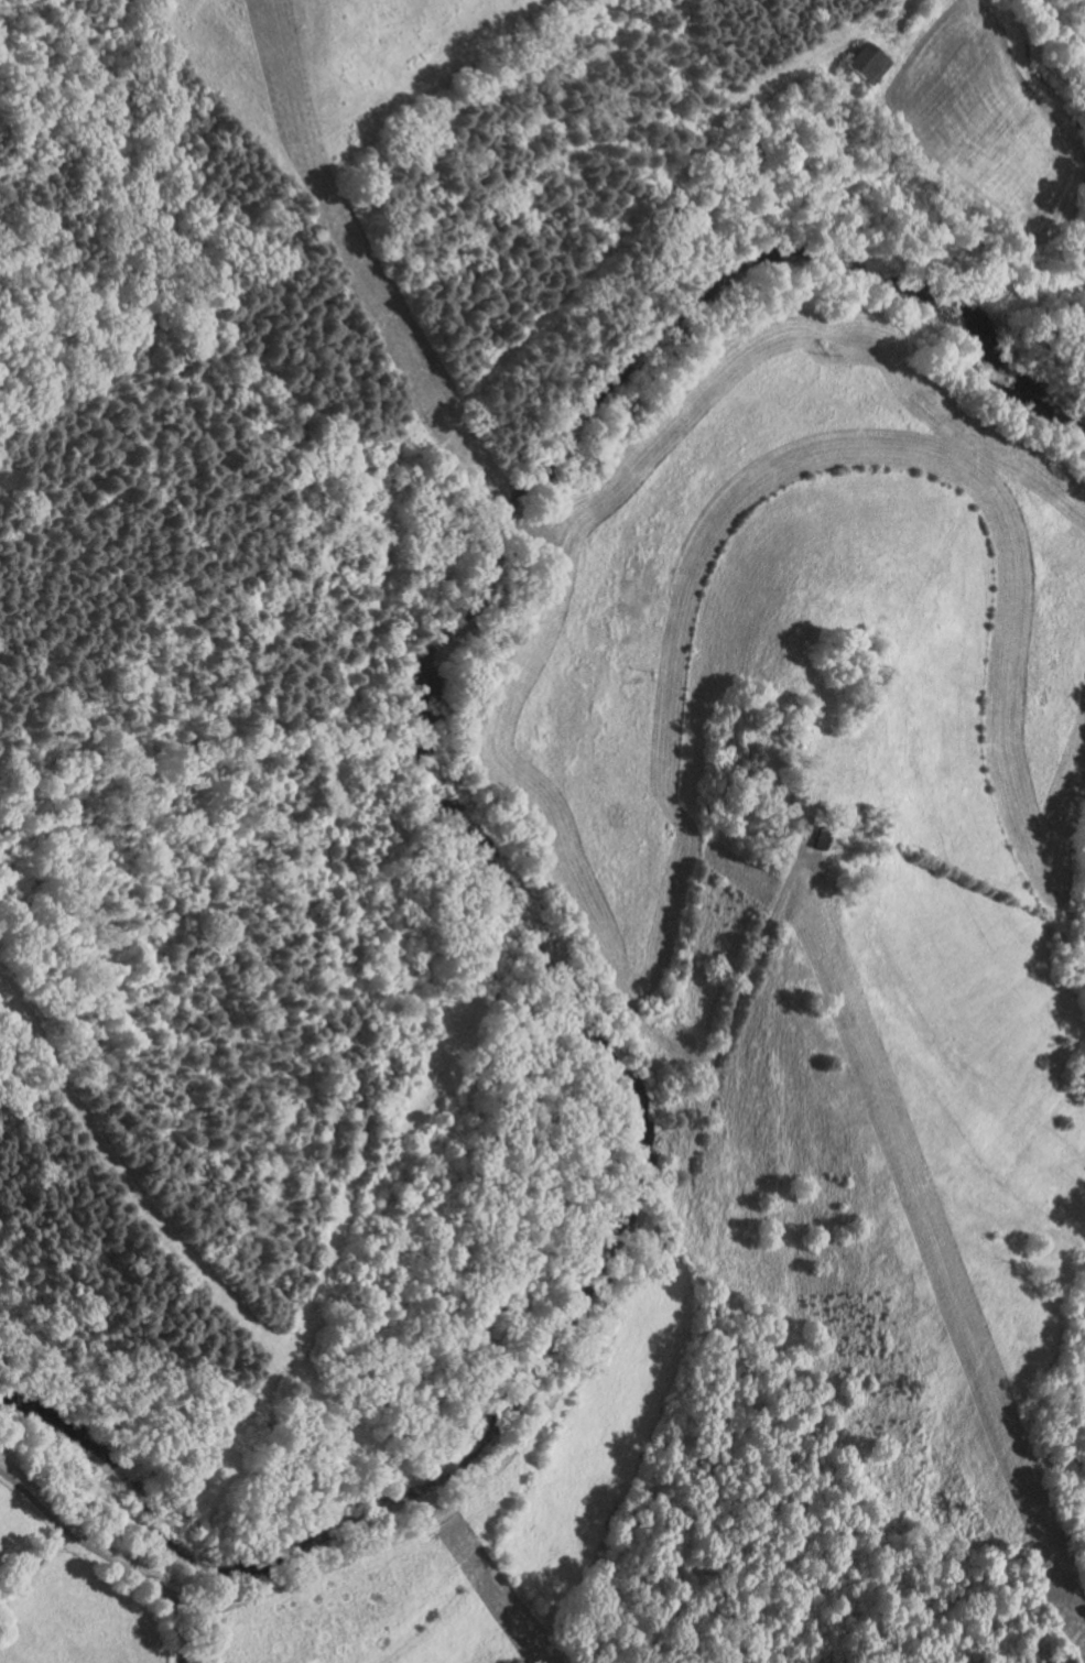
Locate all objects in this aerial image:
road: (876, 13)
building: (865, 64)
crop: (988, 117)
building: (792, 786)
building: (824, 840)
road: (589, 1340)
road: (77, 1539)
road: (176, 1627)

